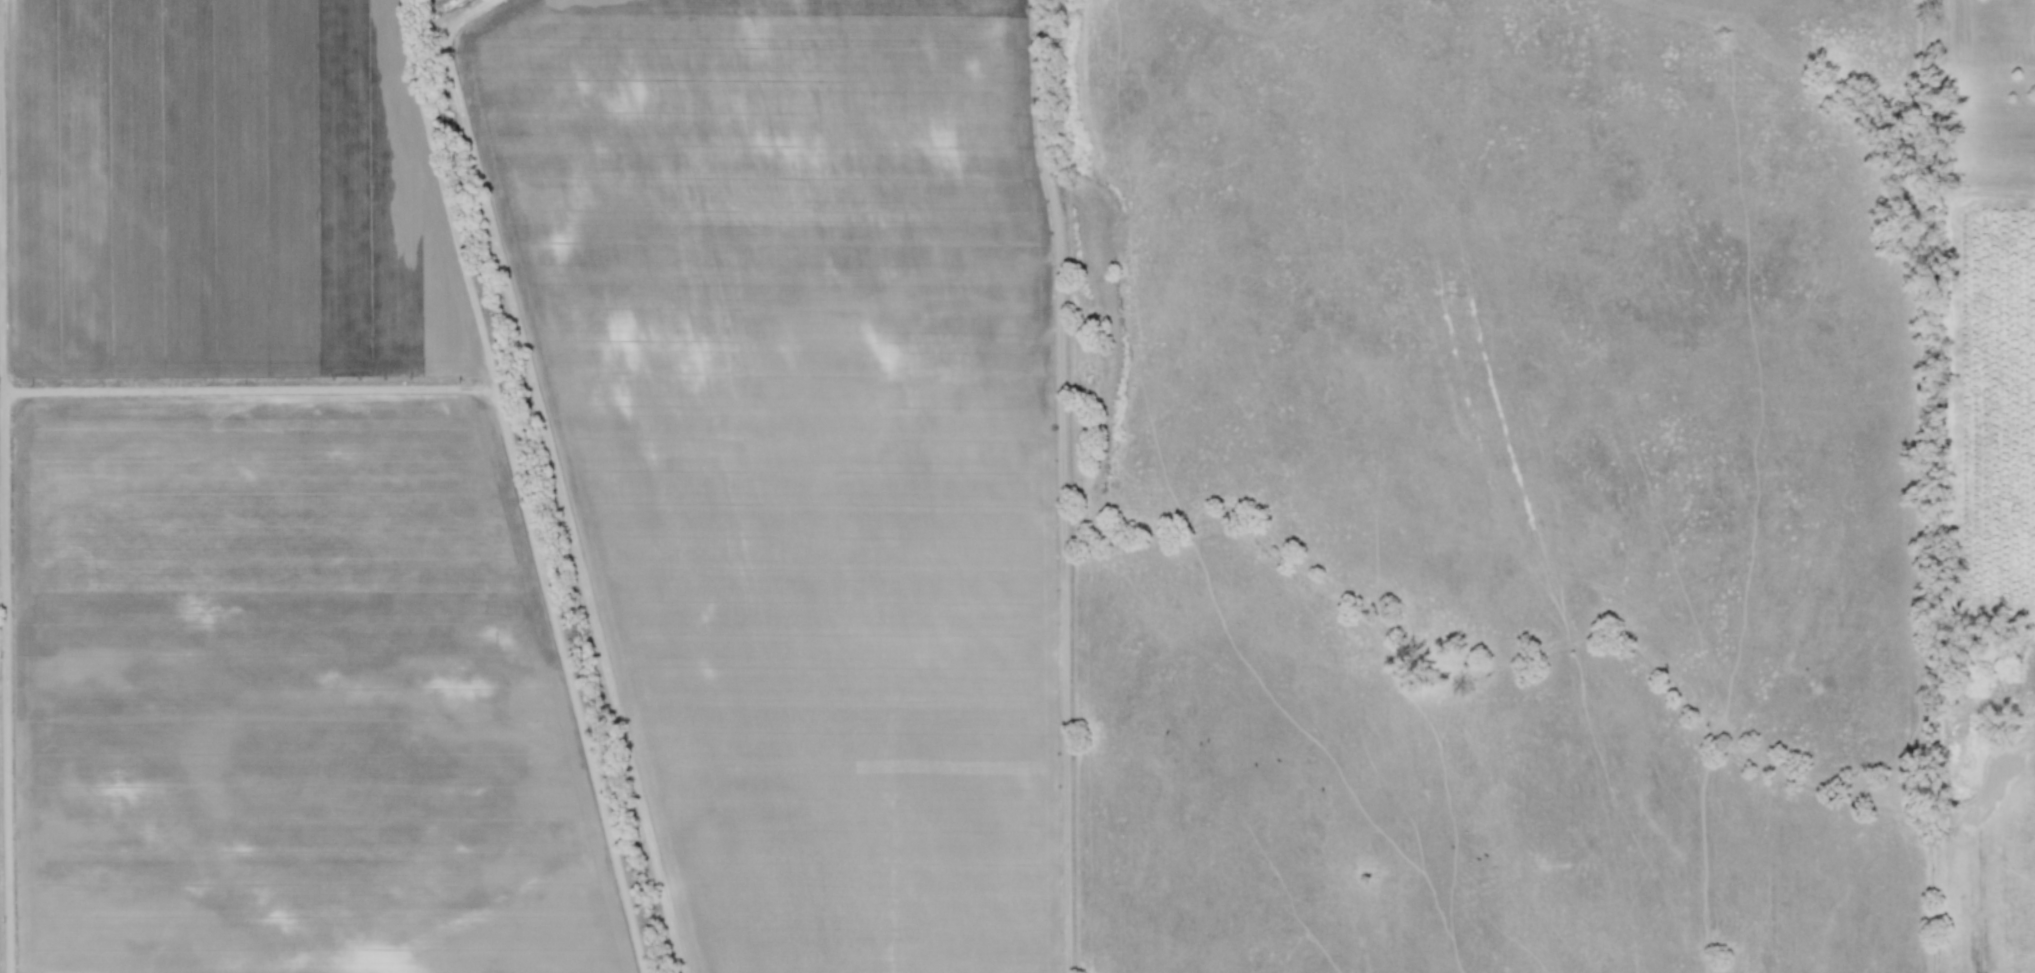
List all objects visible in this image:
crop: (1017, 486)

